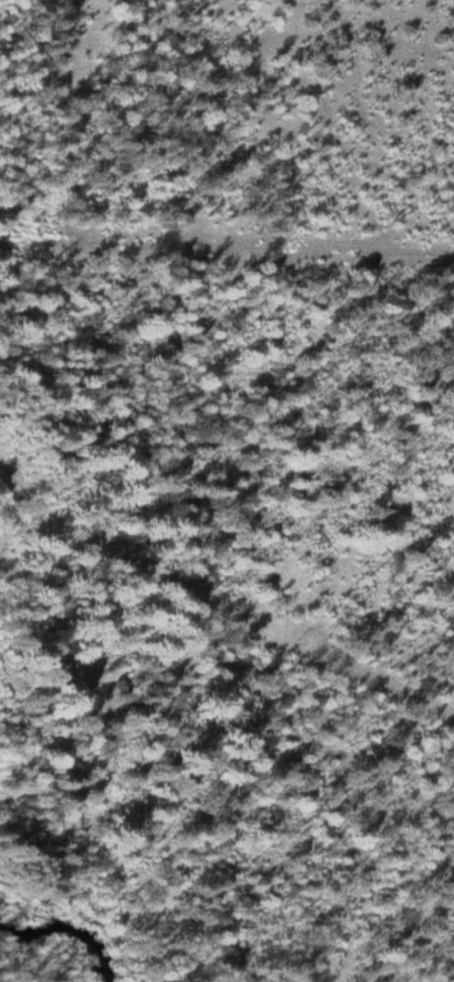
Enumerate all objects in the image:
road: (9, 543)
building: (57, 672)
river: (66, 930)

